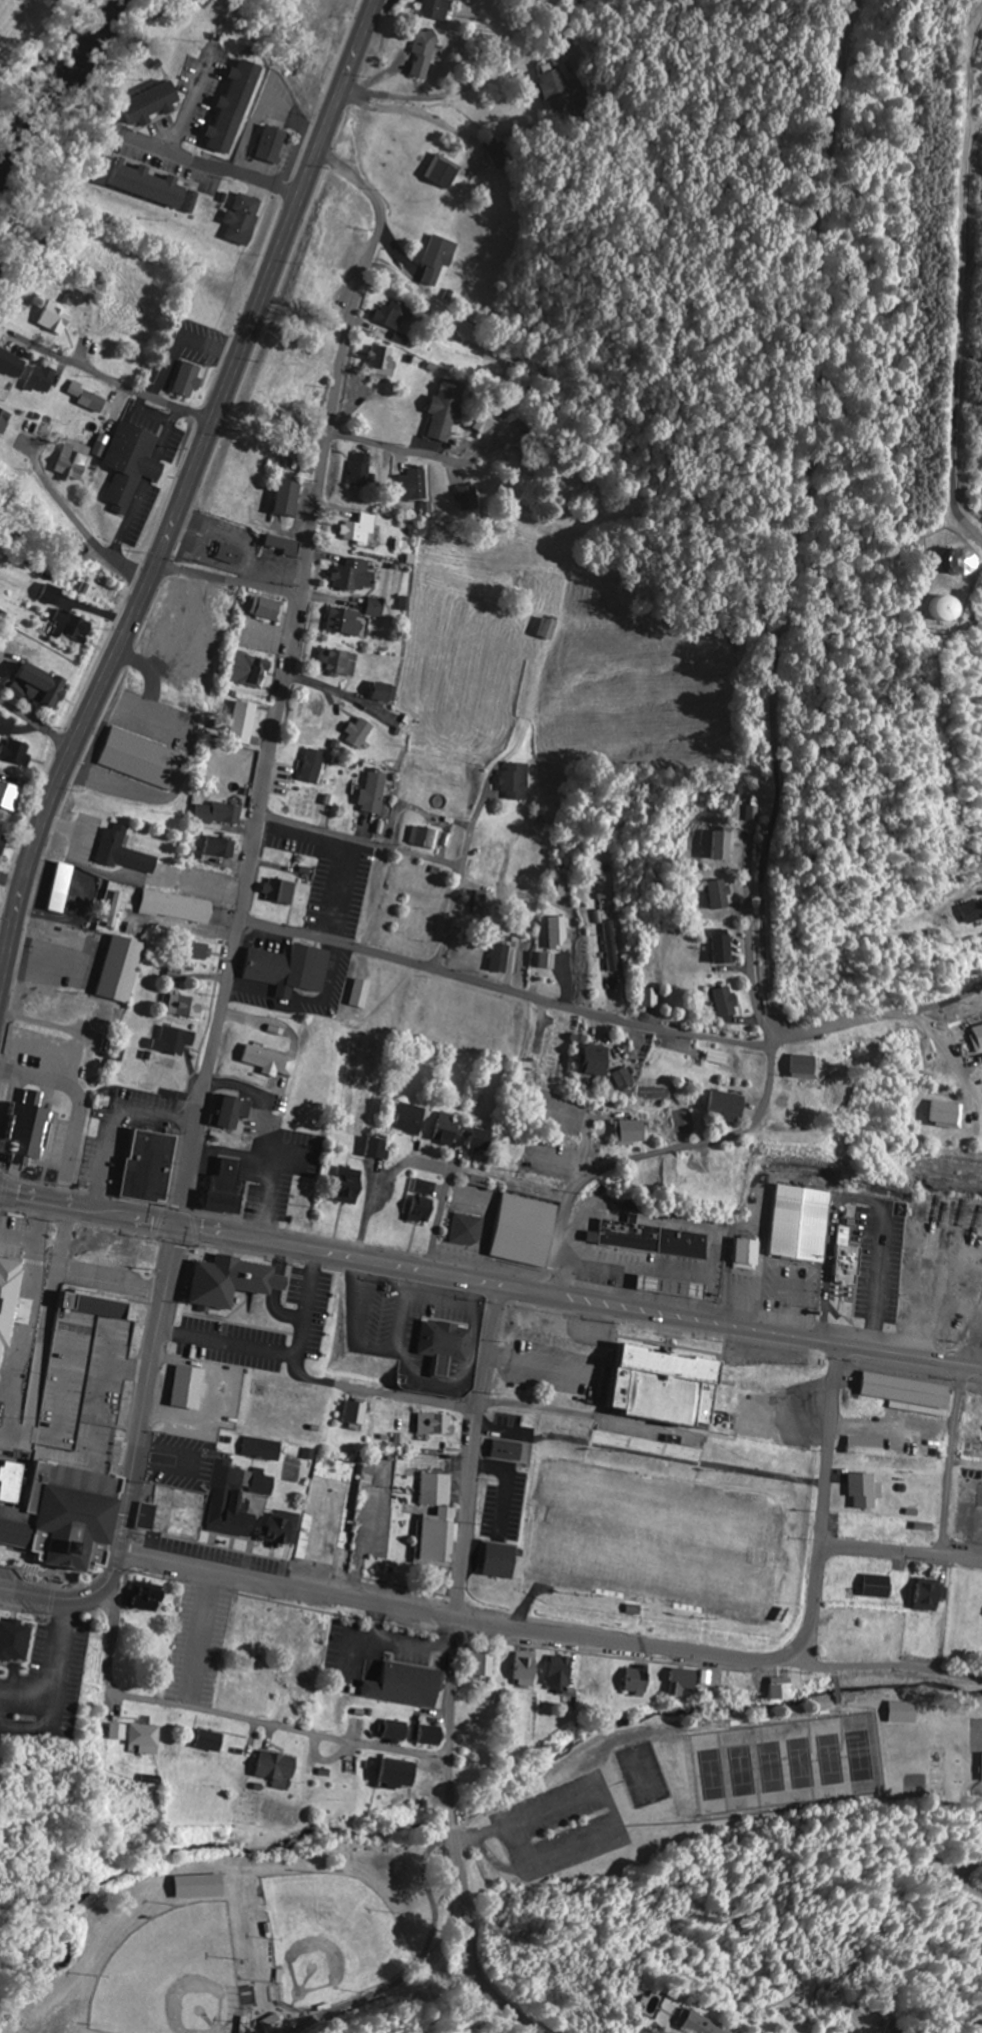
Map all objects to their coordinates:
building: (439, 9)
building: (425, 54)
building: (554, 84)
river: (58, 85)
road: (474, 85)
road: (191, 101)
building: (155, 105)
building: (238, 108)
building: (275, 145)
road: (212, 166)
building: (447, 174)
building: (154, 186)
building: (246, 219)
building: (441, 257)
road: (961, 262)
road: (151, 318)
building: (58, 320)
building: (395, 322)
building: (385, 361)
building: (12, 363)
building: (43, 378)
building: (191, 379)
building: (92, 398)
building: (445, 410)
building: (5, 421)
road: (396, 448)
building: (77, 460)
building: (135, 464)
building: (363, 469)
building: (416, 485)
road: (184, 493)
building: (292, 497)
building: (468, 497)
road: (81, 525)
building: (363, 530)
building: (288, 545)
building: (234, 554)
building: (972, 562)
building: (359, 575)
road: (227, 578)
building: (53, 595)
building: (378, 607)
building: (270, 608)
building: (947, 608)
building: (72, 626)
building: (553, 628)
building: (341, 662)
road: (131, 669)
building: (253, 670)
road: (287, 672)
building: (42, 685)
building: (389, 692)
road: (778, 707)
road: (34, 720)
building: (246, 721)
building: (7, 726)
building: (362, 733)
building: (142, 739)
building: (17, 752)
building: (315, 766)
building: (517, 781)
building: (375, 793)
building: (11, 795)
building: (310, 803)
road: (416, 810)
building: (222, 813)
building: (431, 838)
road: (361, 840)
building: (4, 844)
building: (727, 844)
building: (223, 846)
building: (126, 851)
road: (458, 876)
building: (65, 888)
building: (284, 890)
building: (721, 894)
building: (3, 897)
road: (375, 898)
building: (483, 904)
building: (181, 907)
building: (974, 913)
building: (561, 934)
road: (340, 943)
building: (613, 946)
building: (724, 946)
road: (225, 948)
building: (205, 951)
road: (752, 955)
building: (501, 957)
building: (549, 961)
building: (293, 968)
building: (123, 969)
building: (364, 993)
building: (651, 998)
building: (727, 1002)
building: (189, 1006)
road: (709, 1030)
building: (977, 1034)
building: (177, 1040)
building: (598, 1060)
building: (272, 1061)
building: (804, 1065)
building: (626, 1080)
building: (730, 1106)
building: (232, 1113)
building: (949, 1113)
building: (412, 1119)
building: (447, 1129)
building: (27, 1131)
building: (634, 1131)
building: (481, 1140)
building: (380, 1148)
building: (153, 1167)
building: (350, 1185)
building: (426, 1187)
building: (230, 1188)
road: (439, 1206)
road: (616, 1210)
building: (811, 1223)
building: (468, 1230)
building: (528, 1231)
building: (656, 1239)
building: (755, 1254)
building: (854, 1257)
road: (57, 1271)
road: (490, 1280)
building: (237, 1281)
building: (12, 1304)
road: (395, 1328)
building: (447, 1344)
parking lot: (557, 1368)
road: (263, 1370)
building: (671, 1386)
building: (192, 1388)
building: (912, 1394)
road: (145, 1405)
building: (359, 1413)
building: (441, 1425)
road: (829, 1443)
building: (648, 1445)
building: (868, 1446)
building: (265, 1449)
building: (512, 1450)
road: (952, 1458)
road: (967, 1462)
building: (16, 1483)
building: (868, 1490)
building: (237, 1499)
building: (71, 1516)
building: (150, 1517)
building: (441, 1519)
road: (471, 1520)
building: (284, 1528)
park: (659, 1538)
road: (901, 1551)
building: (505, 1561)
building: (880, 1587)
building: (930, 1594)
road: (52, 1595)
building: (152, 1598)
road: (814, 1606)
road: (449, 1616)
building: (16, 1641)
building: (488, 1665)
road: (883, 1667)
building: (530, 1670)
building: (563, 1674)
parking lot: (50, 1679)
building: (685, 1681)
building: (411, 1686)
building: (786, 1689)
building: (908, 1713)
road: (229, 1715)
building: (400, 1731)
building: (434, 1736)
building: (141, 1738)
building: (215, 1741)
park: (786, 1764)
building: (281, 1769)
park: (643, 1773)
building: (403, 1775)
park: (734, 1784)
road: (451, 1787)
road: (453, 1819)
parking lot: (558, 1827)
road: (965, 1873)
building: (206, 1887)
park: (329, 1936)
park: (260, 1941)
road: (465, 1942)
park: (172, 1977)
building: (701, 2026)

